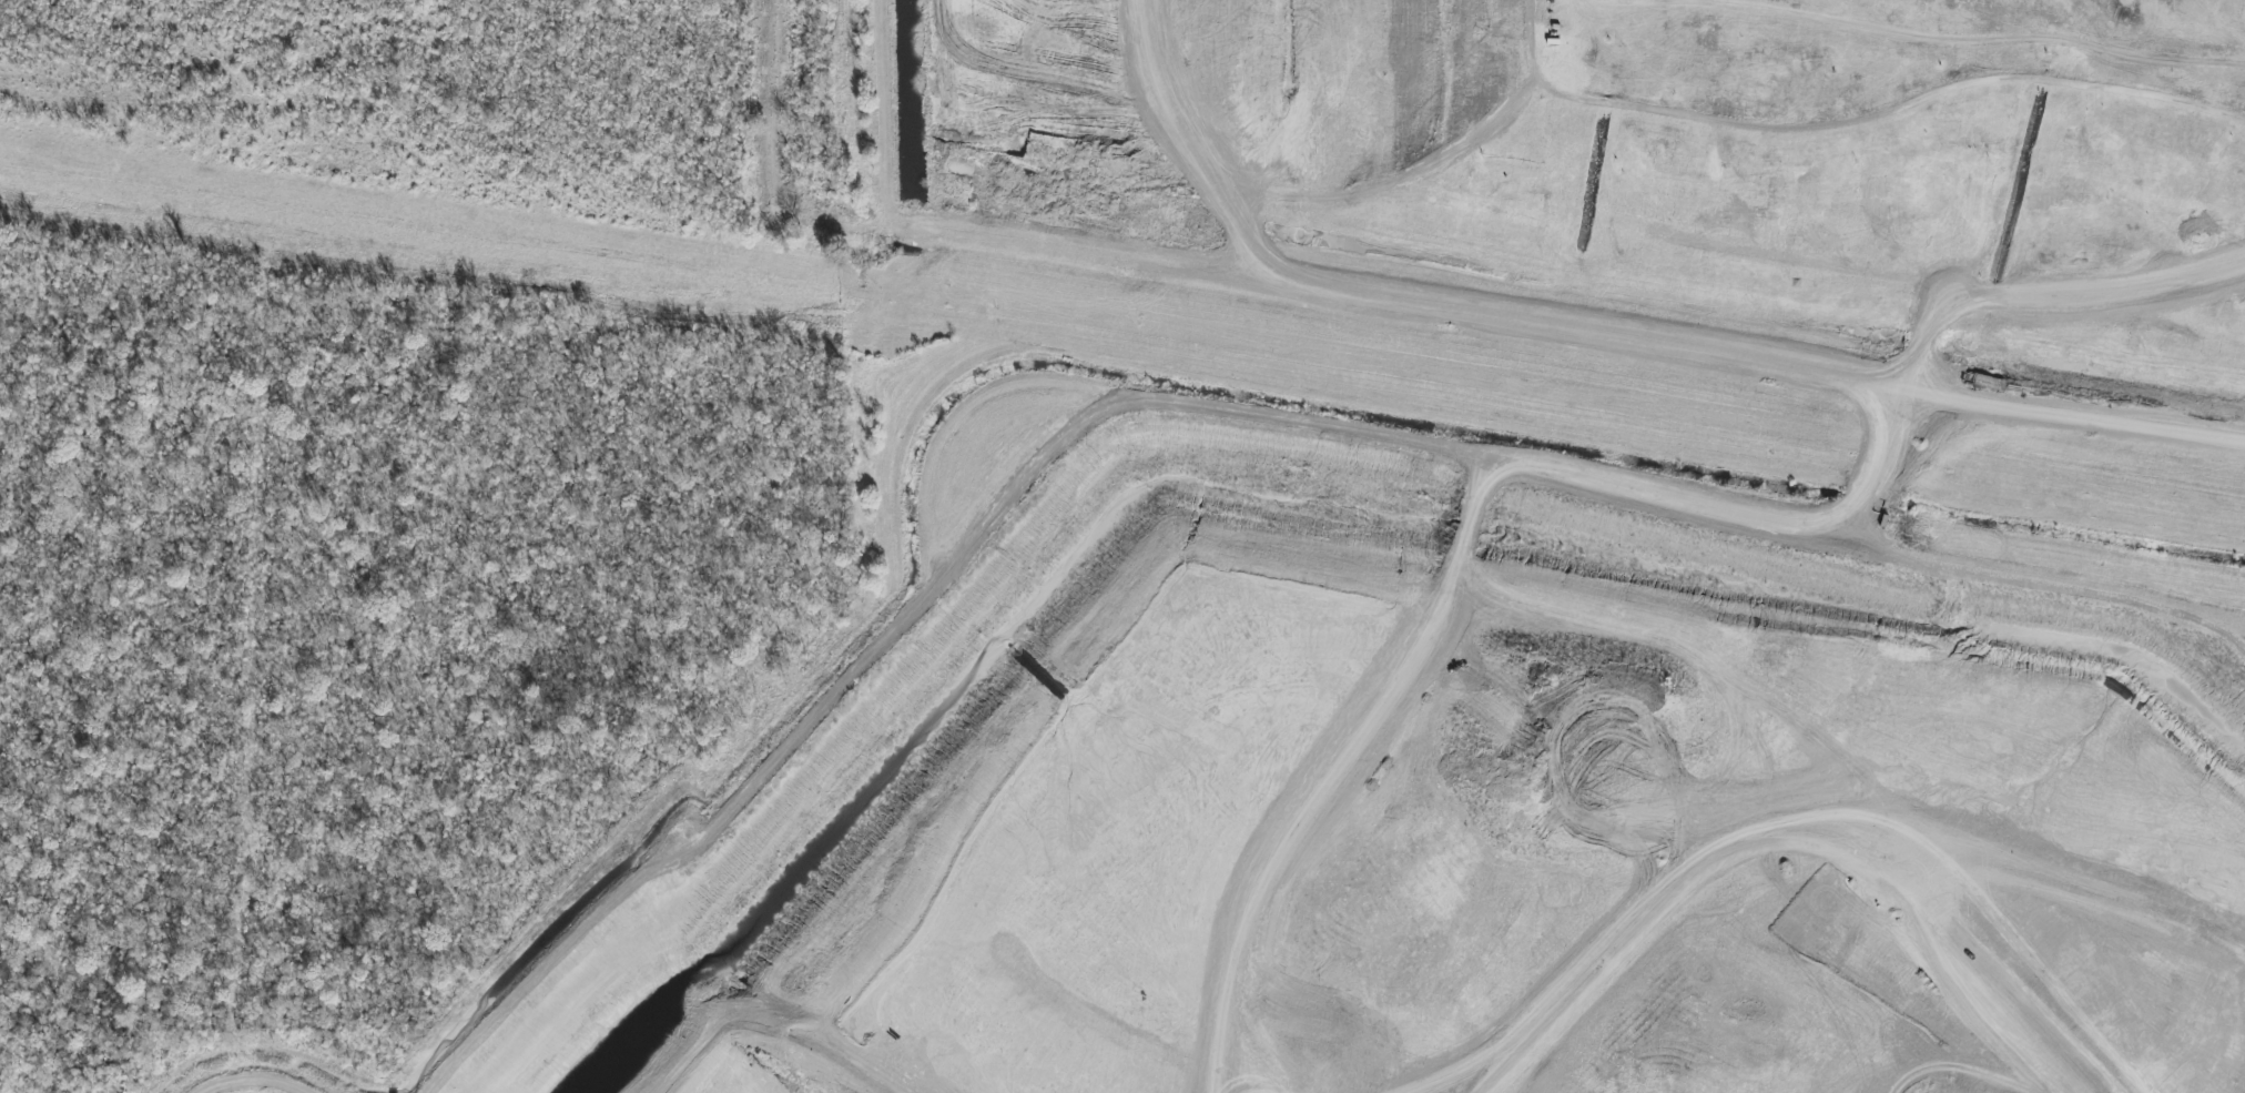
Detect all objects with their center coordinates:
landfill: (1677, 153)
road: (2092, 419)
landfill: (1547, 770)

